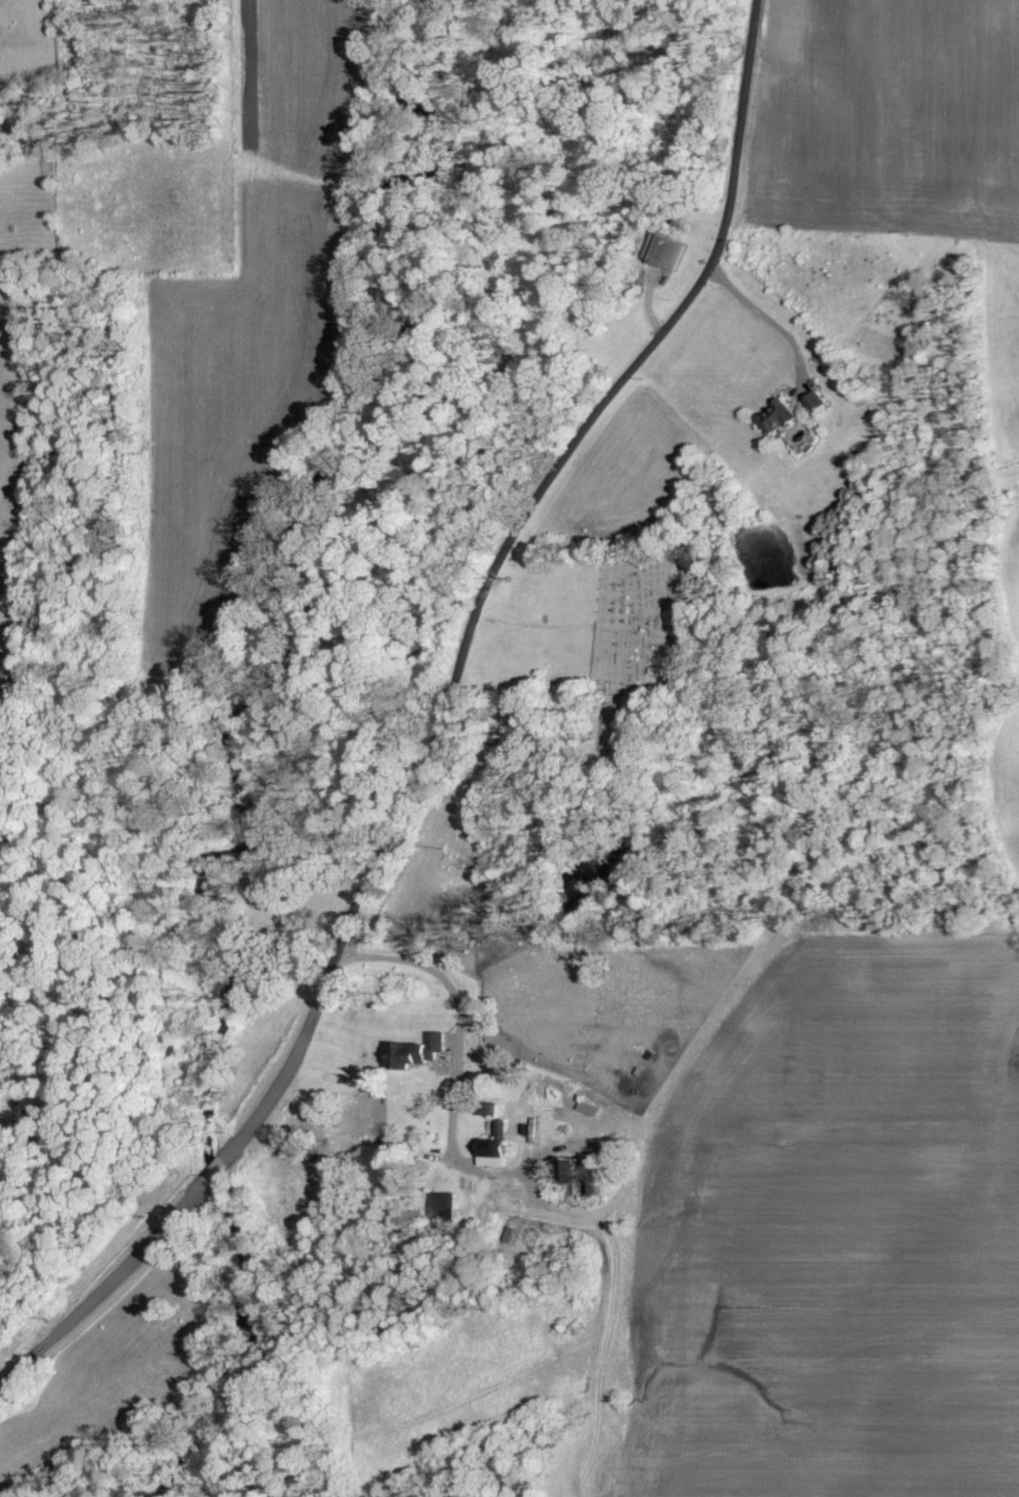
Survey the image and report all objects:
building: (673, 250)
road: (770, 319)
building: (819, 402)
building: (782, 417)
road: (494, 572)
park: (640, 628)
road: (417, 963)
building: (426, 1050)
building: (507, 1129)
building: (500, 1157)
road: (216, 1169)
building: (588, 1173)
building: (447, 1201)
road: (103, 1286)

